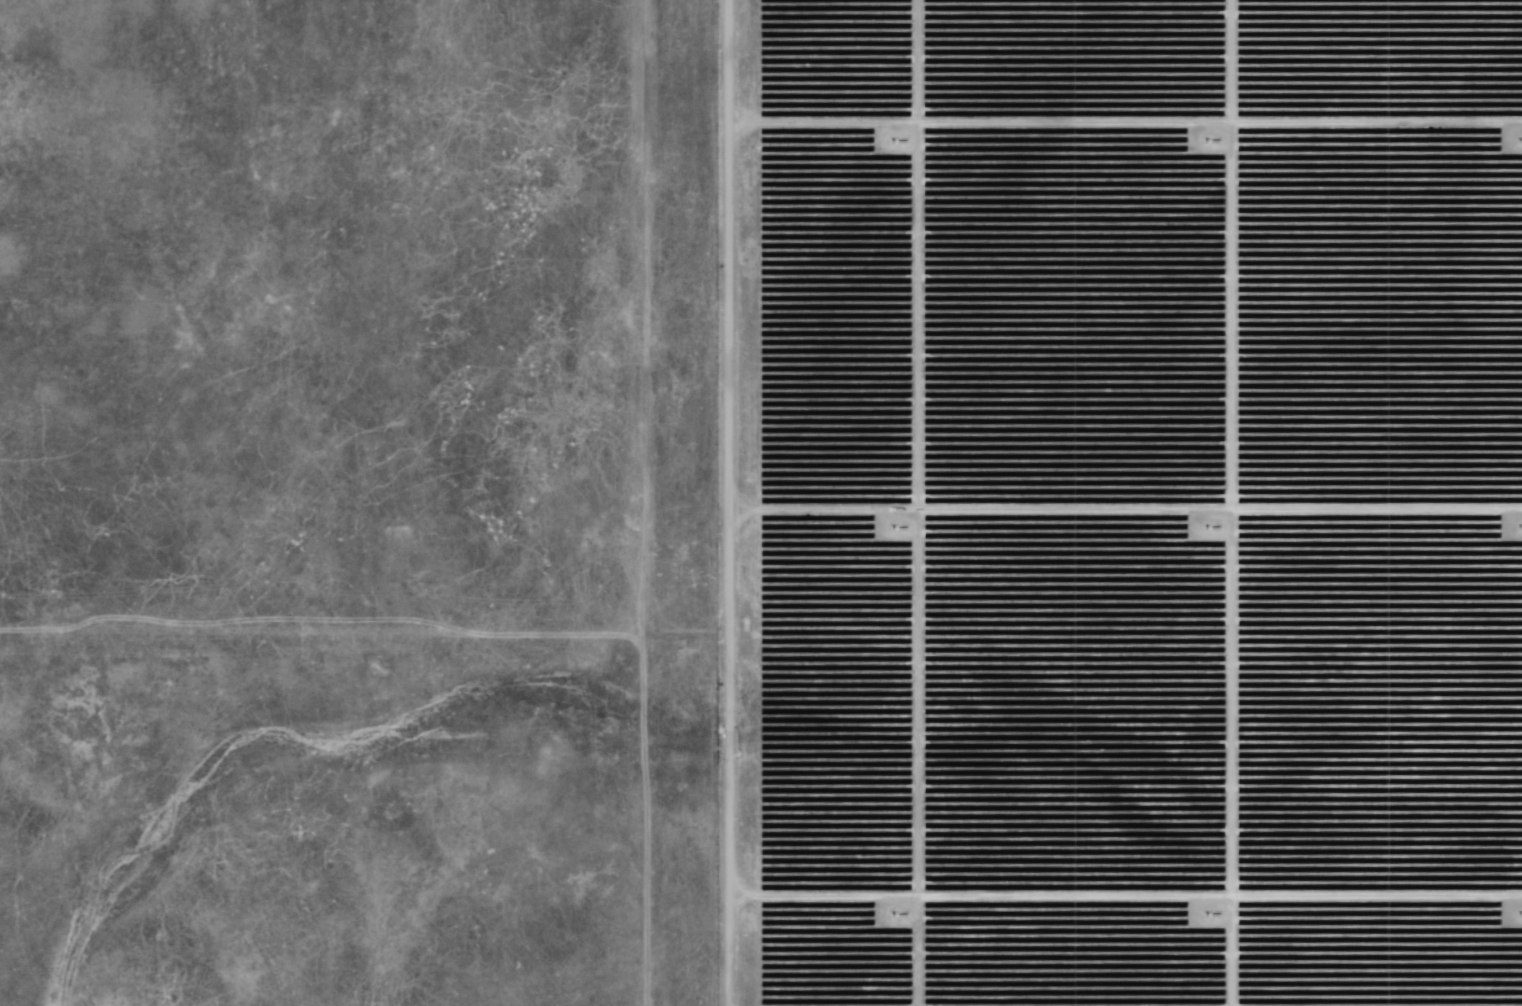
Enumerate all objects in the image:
solar farm: (761, 503)

